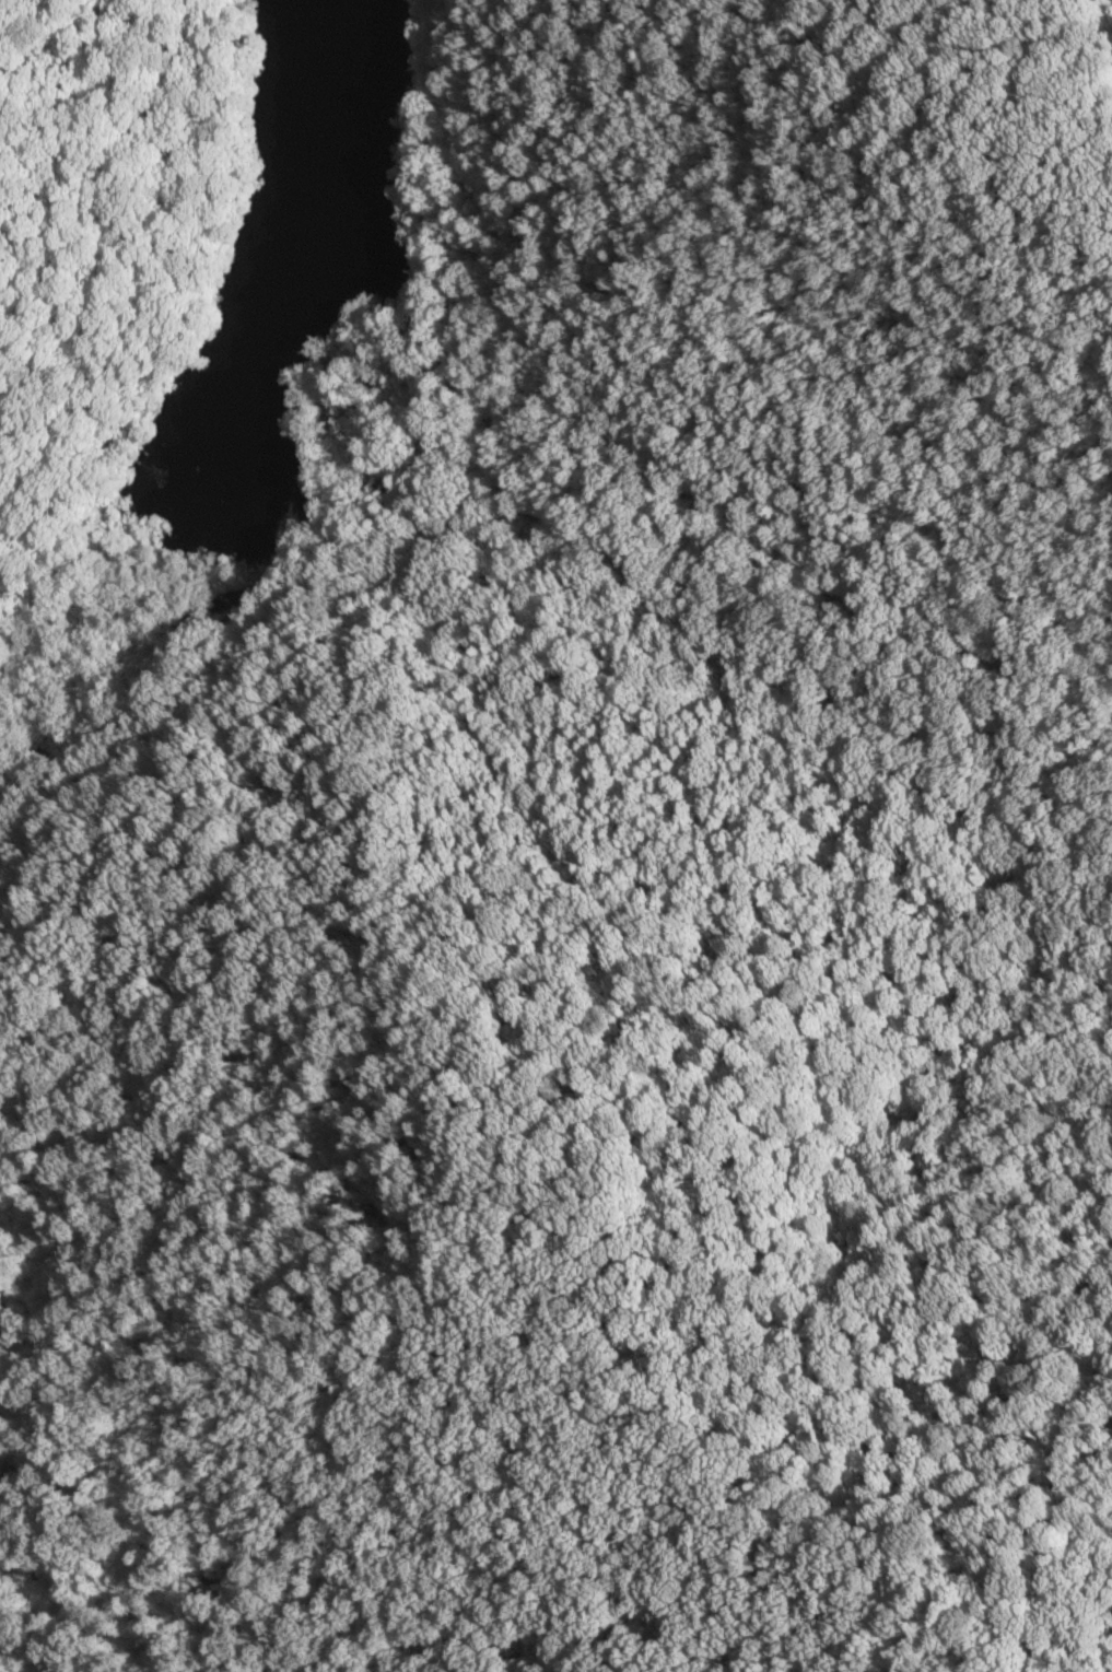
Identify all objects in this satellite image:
road: (389, 500)

